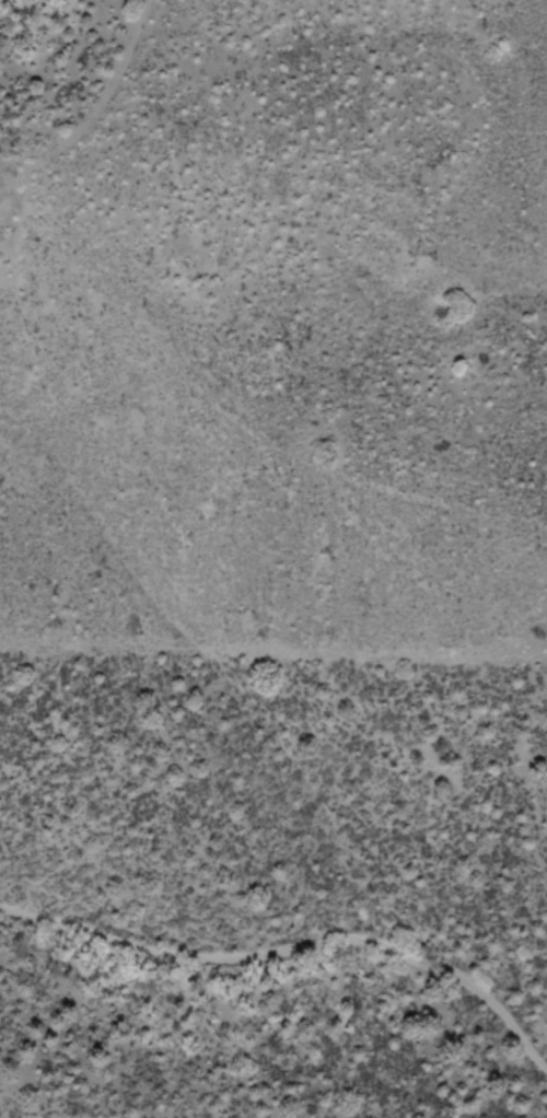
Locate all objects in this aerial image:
road: (298, 948)

